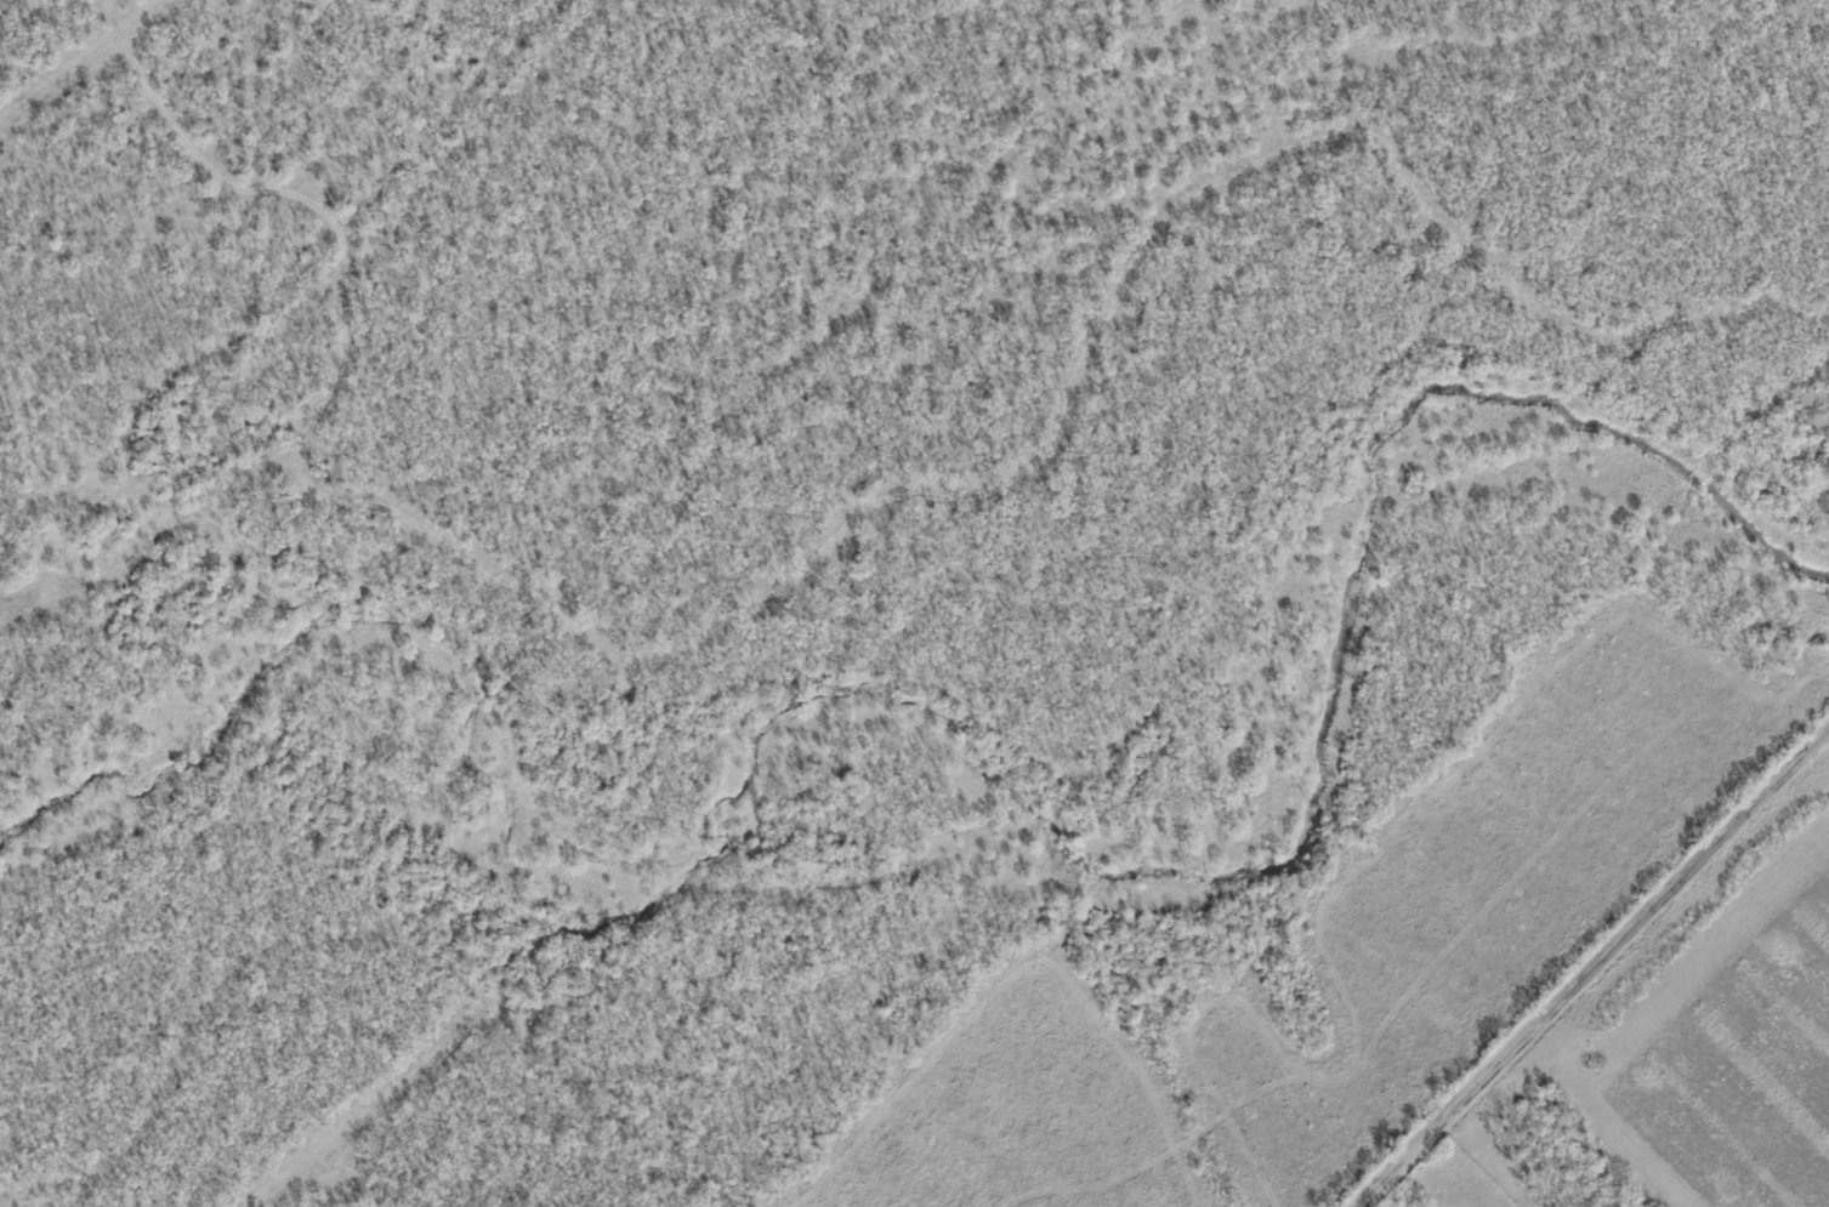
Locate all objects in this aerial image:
road: (1591, 964)

